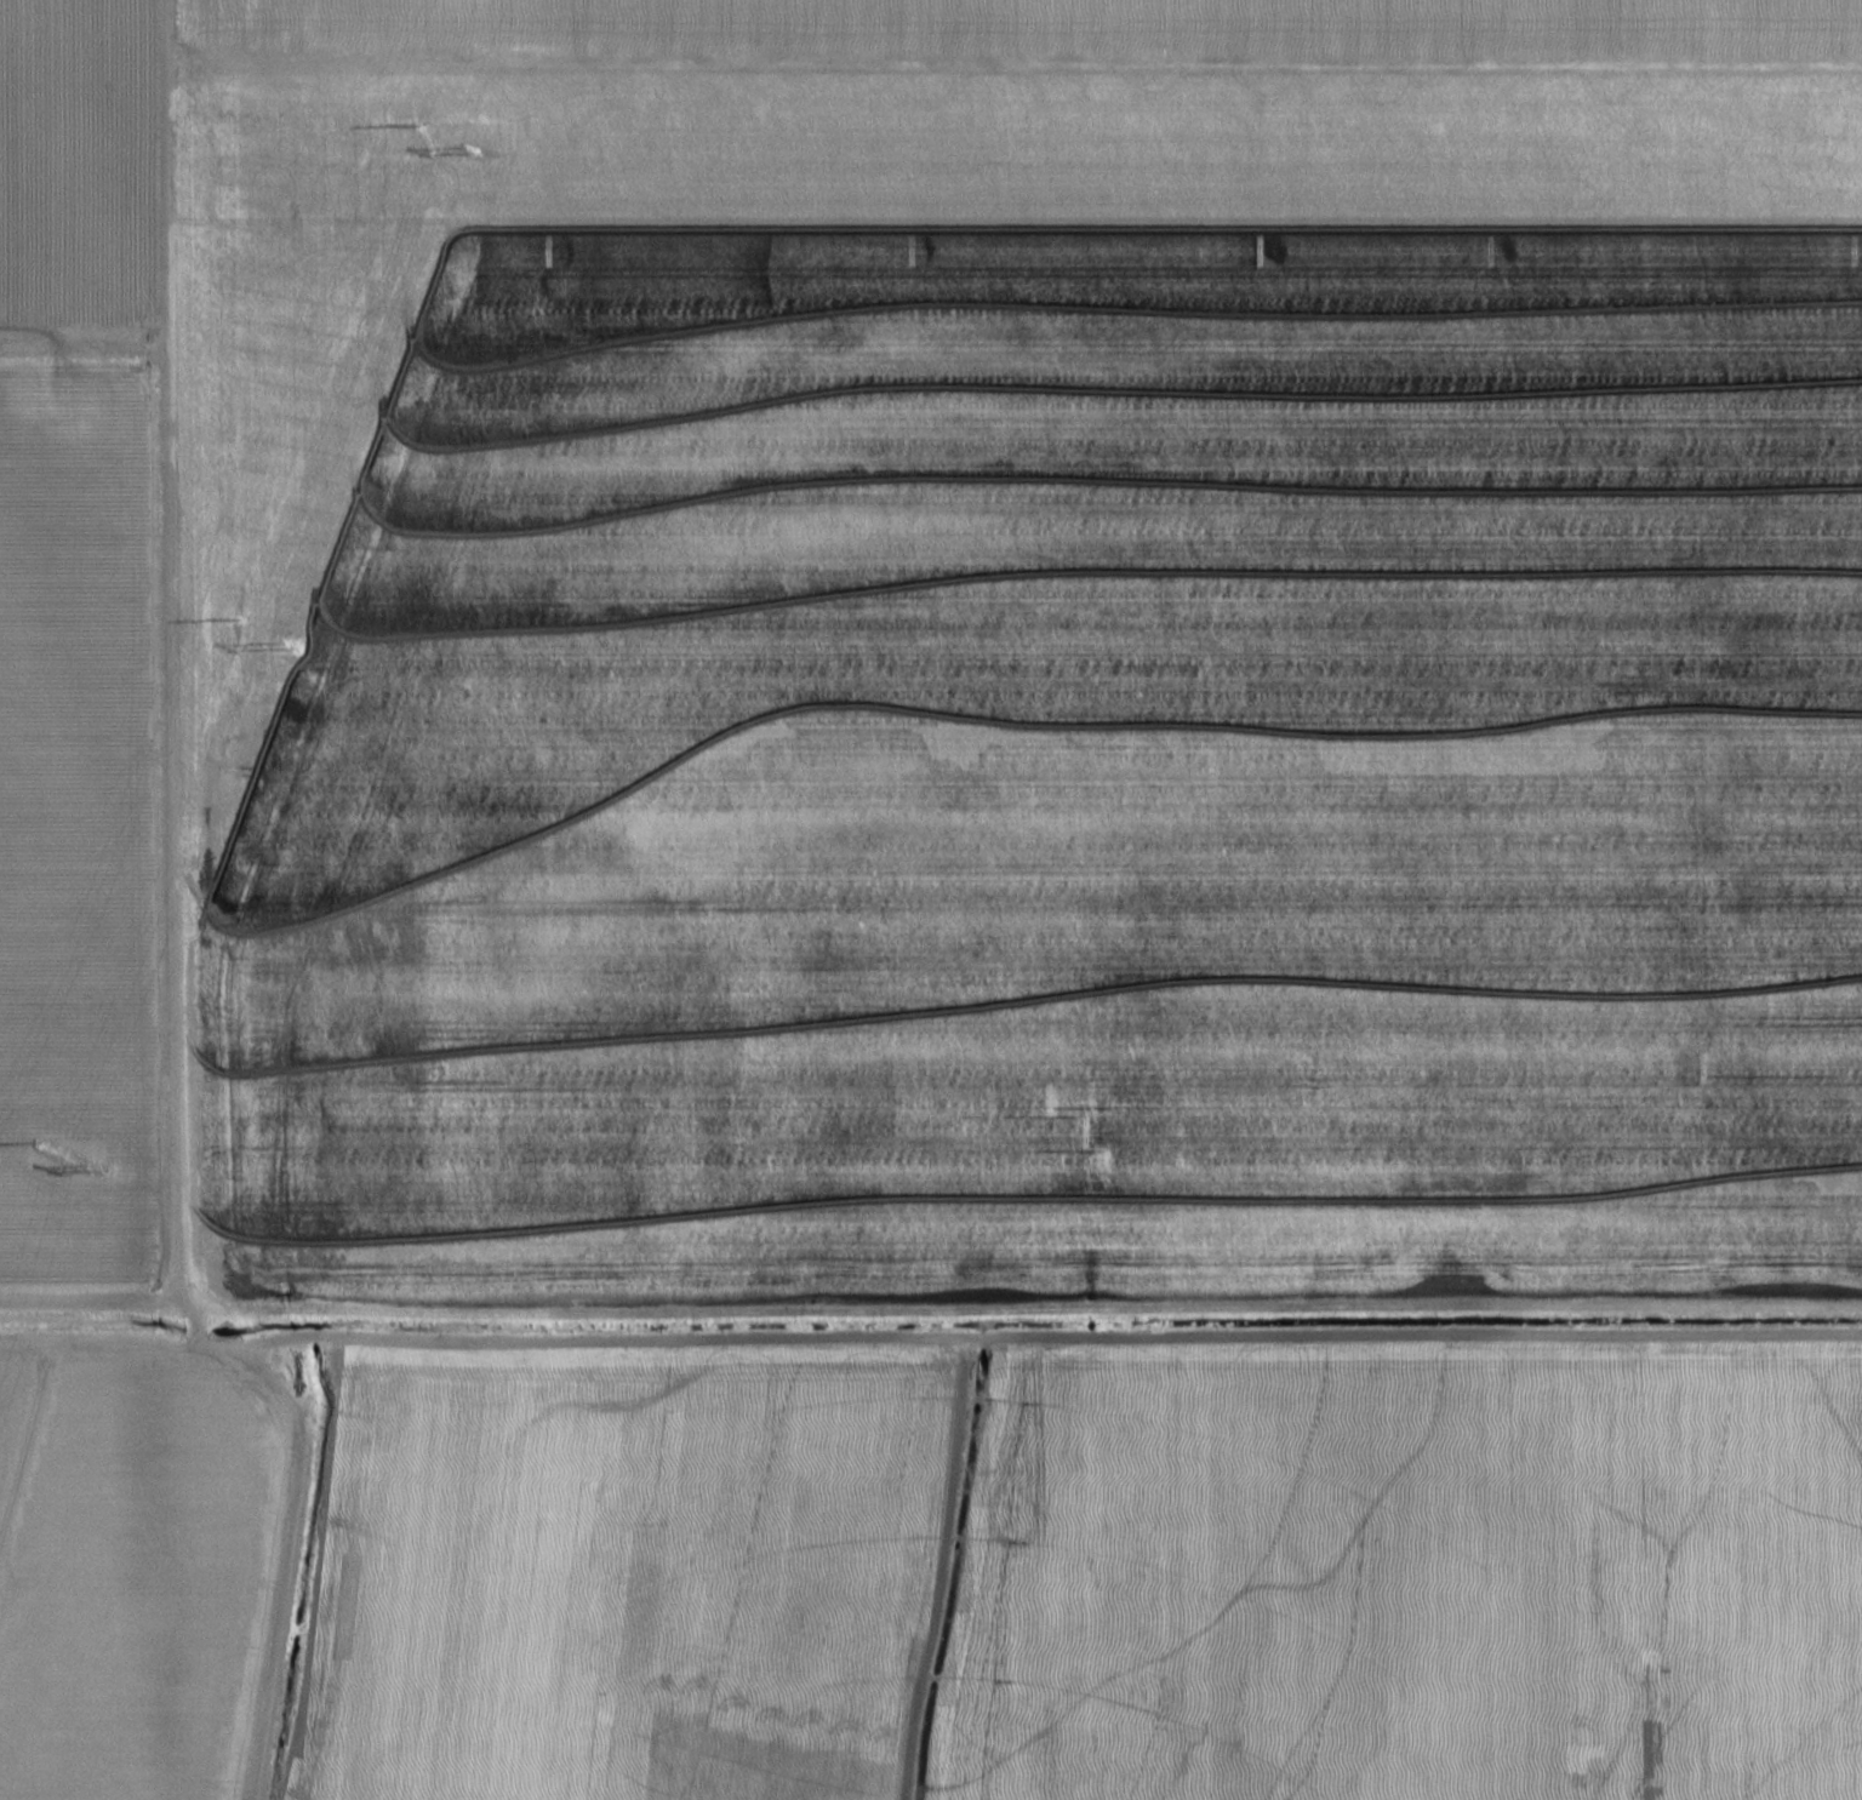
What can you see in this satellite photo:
power tower: (473, 148)
road: (1019, 261)
road: (93, 587)
power tower: (292, 647)
power tower: (101, 1168)
road: (373, 1320)
road: (200, 1332)
road: (276, 1349)
road: (307, 1441)

